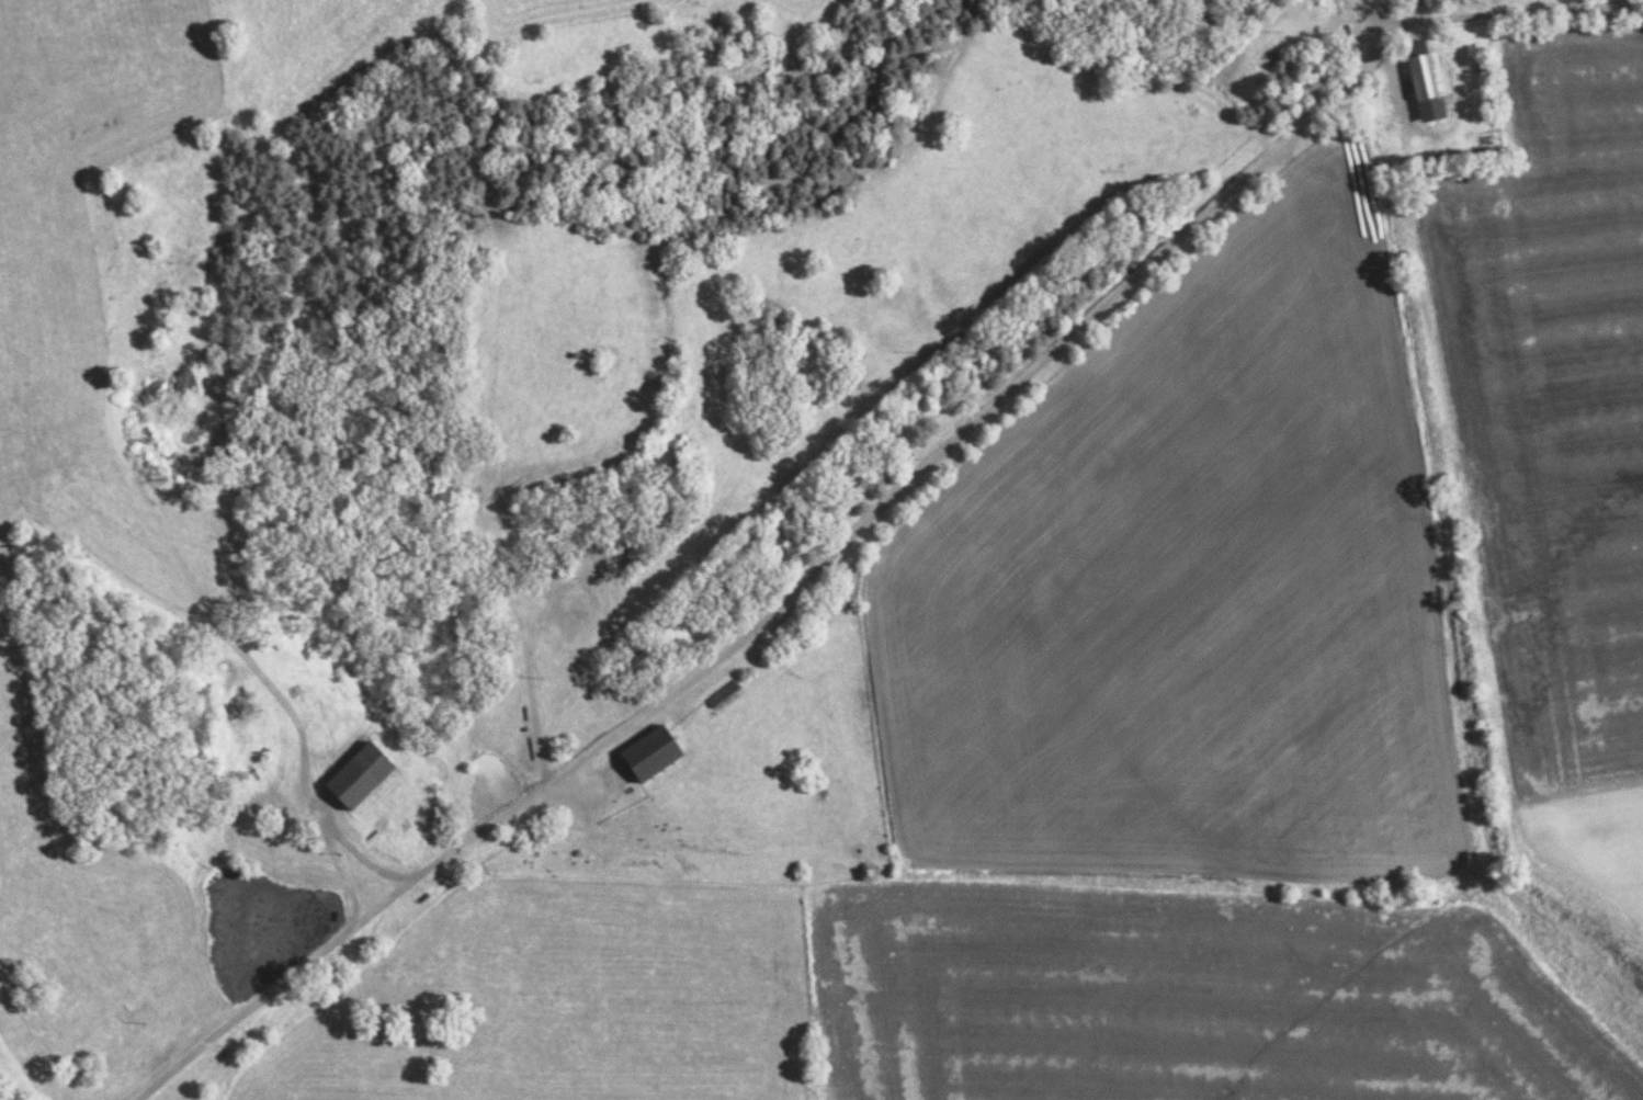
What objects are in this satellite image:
building: (1429, 81)
road: (886, 511)
building: (726, 696)
building: (658, 755)
building: (366, 776)

